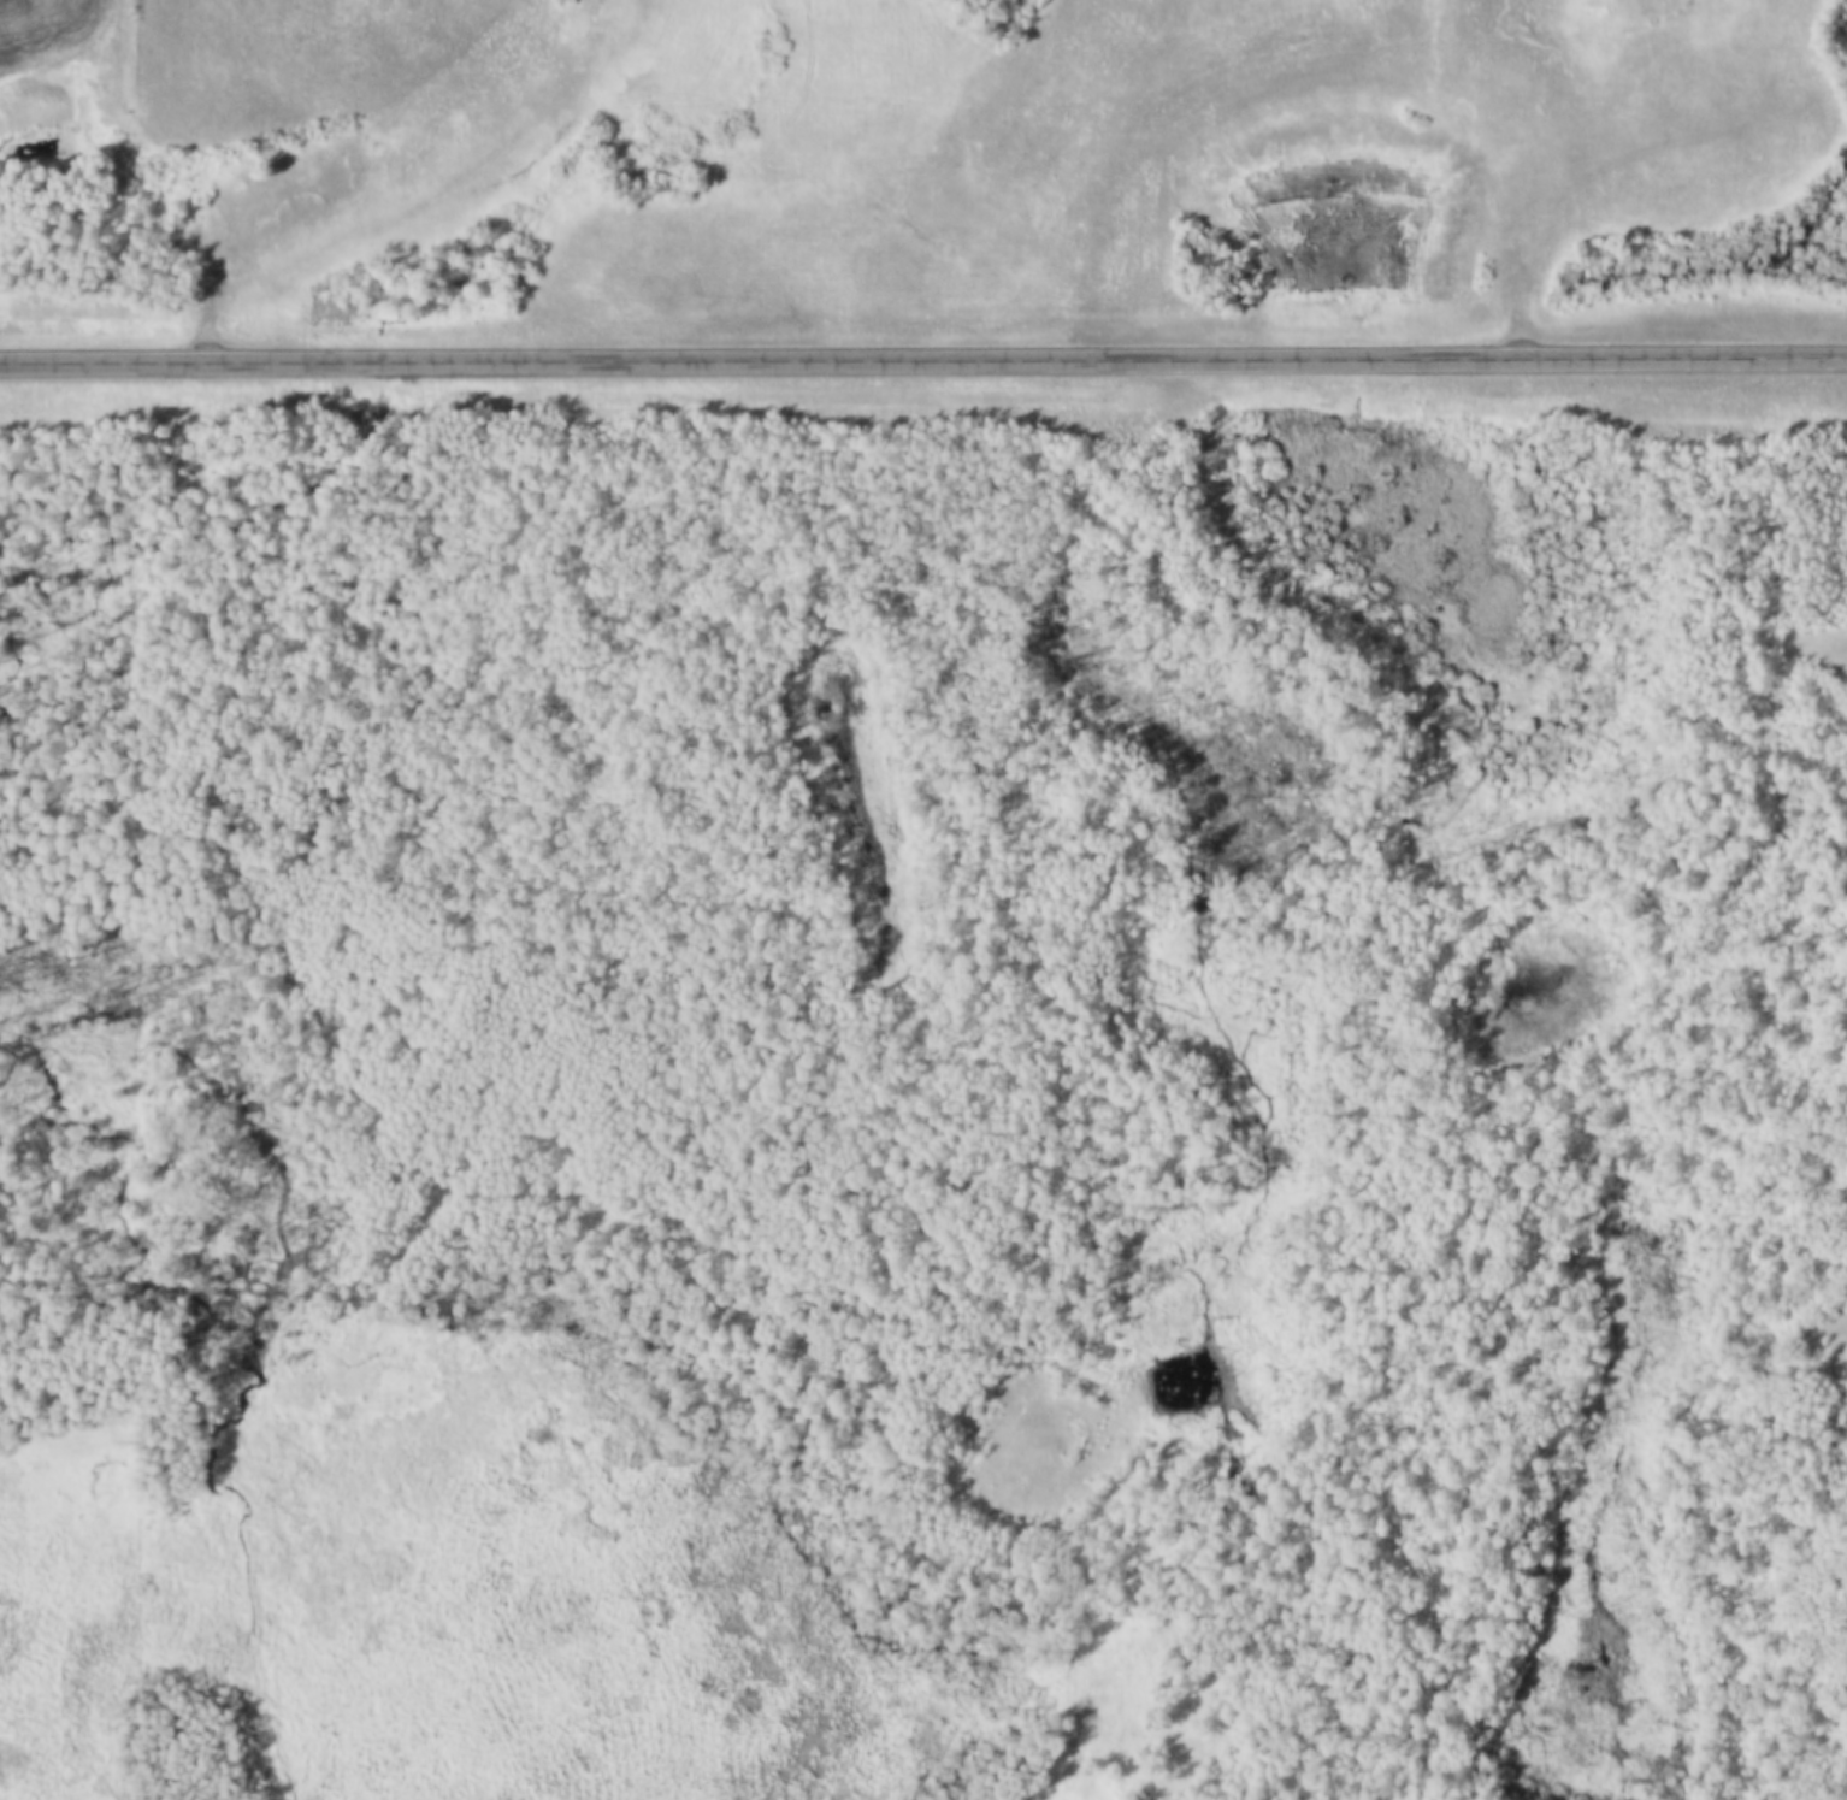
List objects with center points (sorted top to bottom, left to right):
road: (922, 362)

